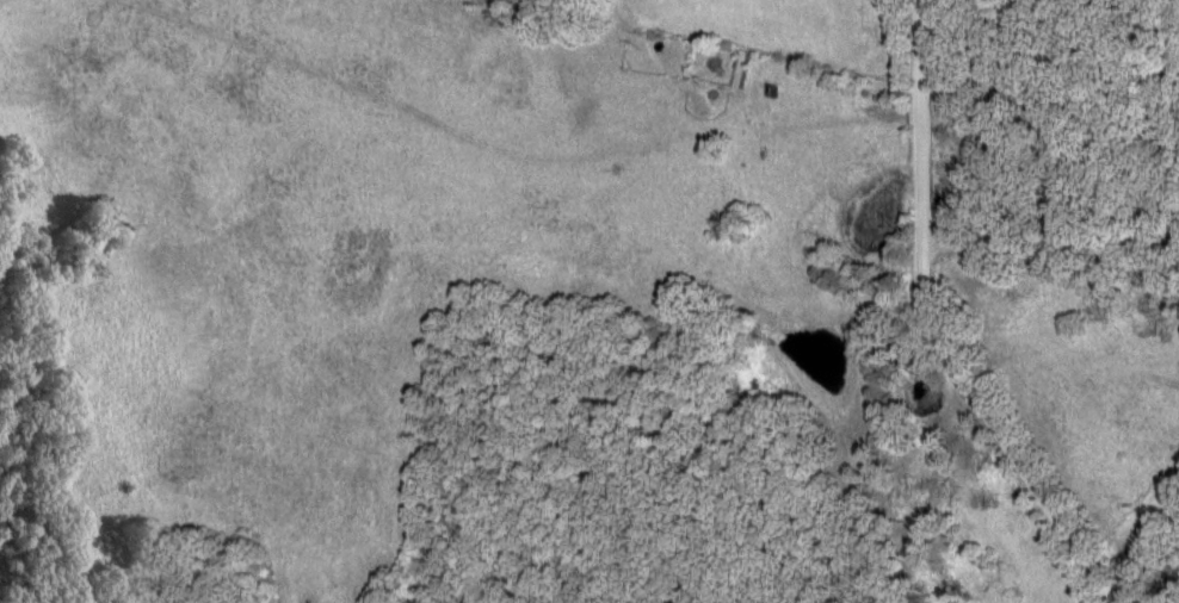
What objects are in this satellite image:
road: (1047, 243)
road: (933, 325)

